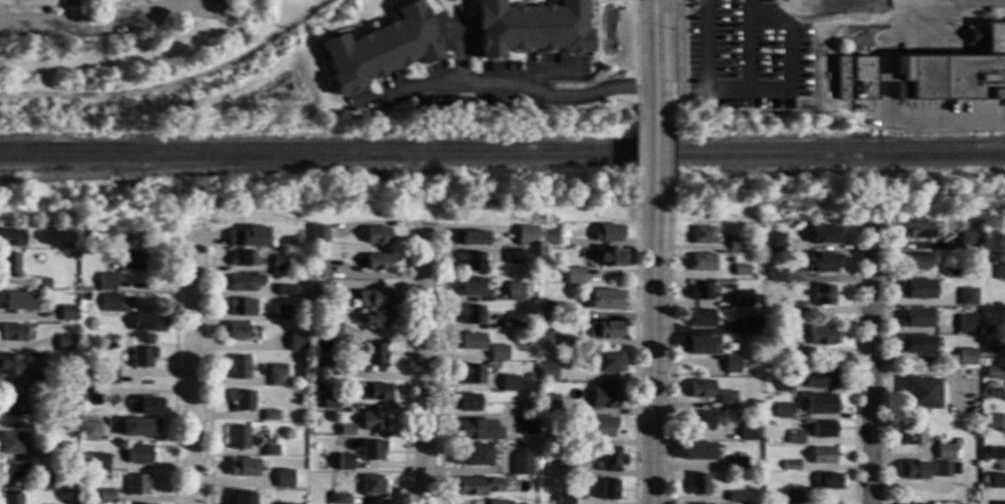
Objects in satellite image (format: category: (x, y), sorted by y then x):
road: (902, 0)
road: (118, 1)
road: (605, 1)
road: (179, 2)
road: (9, 3)
road: (16, 3)
road: (64, 6)
road: (438, 8)
road: (463, 12)
road: (69, 13)
road: (963, 15)
road: (98, 24)
building: (530, 27)
road: (933, 35)
road: (445, 36)
road: (323, 37)
road: (596, 38)
road: (900, 38)
road: (741, 44)
building: (377, 48)
building: (718, 49)
road: (650, 52)
road: (634, 53)
road: (670, 53)
road: (458, 54)
parking lot: (736, 55)
road: (547, 73)
building: (931, 73)
road: (887, 78)
road: (174, 82)
road: (499, 85)
road: (750, 88)
road: (927, 122)
railway: (502, 148)
road: (669, 156)
road: (634, 157)
road: (650, 157)
railway: (502, 158)
railway: (197, 171)
building: (554, 222)
road: (469, 229)
building: (915, 230)
building: (83, 233)
building: (607, 233)
building: (822, 234)
building: (375, 235)
building: (702, 235)
building: (320, 236)
building: (524, 236)
building: (548, 236)
building: (12, 238)
building: (248, 238)
building: (468, 238)
building: (297, 239)
building: (967, 240)
building: (774, 241)
building: (67, 244)
building: (735, 244)
building: (541, 251)
building: (511, 255)
building: (609, 256)
building: (242, 258)
building: (130, 260)
building: (915, 260)
building: (471, 261)
building: (376, 262)
building: (701, 262)
building: (821, 262)
building: (10, 264)
building: (279, 264)
building: (317, 269)
building: (740, 270)
building: (949, 272)
building: (1000, 272)
building: (774, 273)
building: (573, 276)
building: (106, 281)
building: (244, 282)
building: (42, 283)
building: (472, 287)
building: (787, 288)
building: (528, 289)
building: (916, 289)
building: (284, 290)
building: (317, 290)
building: (700, 290)
building: (513, 291)
building: (822, 295)
building: (966, 296)
building: (83, 297)
building: (603, 299)
building: (742, 299)
building: (373, 300)
building: (17, 302)
building: (110, 303)
building: (241, 307)
building: (794, 307)
building: (545, 309)
building: (281, 312)
building: (66, 313)
building: (470, 314)
building: (701, 318)
building: (915, 318)
building: (375, 319)
building: (147, 323)
building: (508, 324)
building: (966, 324)
building: (525, 326)
building: (749, 326)
building: (986, 328)
building: (603, 330)
building: (235, 331)
building: (329, 331)
building: (11, 332)
building: (821, 335)
building: (471, 341)
building: (545, 341)
building: (64, 342)
building: (295, 342)
building: (916, 344)
building: (699, 345)
building: (988, 345)
building: (311, 352)
building: (497, 352)
building: (374, 353)
road: (668, 354)
building: (785, 354)
road: (634, 355)
road: (650, 356)
building: (142, 357)
building: (966, 357)
building: (607, 361)
building: (730, 363)
building: (9, 364)
road: (855, 364)
building: (328, 365)
road: (403, 365)
road: (173, 366)
road: (193, 366)
road: (422, 367)
road: (439, 367)
building: (239, 368)
road: (870, 369)
road: (884, 371)
building: (991, 371)
building: (547, 372)
road: (208, 373)
building: (90, 374)
building: (469, 374)
building: (967, 374)
building: (107, 376)
building: (31, 378)
building: (83, 378)
building: (276, 378)
building: (820, 378)
building: (983, 381)
building: (45, 383)
building: (508, 383)
building: (782, 384)
building: (62, 387)
building: (700, 389)
building: (372, 391)
building: (921, 393)
building: (992, 393)
building: (90, 396)
building: (604, 396)
building: (726, 399)
building: (242, 400)
building: (327, 400)
building: (463, 403)
building: (547, 403)
building: (13, 404)
building: (820, 404)
building: (146, 406)
building: (527, 408)
building: (783, 411)
building: (270, 415)
building: (56, 420)
building: (700, 420)
building: (372, 421)
building: (992, 421)
building: (526, 425)
building: (599, 427)
building: (138, 428)
building: (823, 429)
building: (345, 430)
building: (477, 430)
building: (747, 430)
building: (89, 432)
building: (913, 433)
building: (557, 437)
building: (795, 437)
building: (240, 438)
building: (957, 442)
building: (14, 443)
building: (270, 450)
building: (370, 450)
building: (64, 451)
building: (696, 451)
building: (944, 451)
building: (995, 453)
building: (138, 455)
building: (472, 455)
building: (823, 455)
building: (610, 460)
building: (93, 461)
building: (344, 462)
building: (521, 463)
building: (739, 463)
building: (791, 465)
building: (243, 467)
building: (564, 468)
building: (941, 469)
building: (913, 470)
building: (984, 470)
building: (13, 471)
building: (283, 479)
building: (828, 481)
building: (997, 481)
building: (43, 484)
building: (137, 484)
building: (697, 484)
building: (371, 485)
building: (474, 486)
building: (607, 490)
building: (102, 495)
building: (791, 495)
building: (734, 496)
building: (242, 497)
building: (339, 498)
building: (564, 498)
building: (10, 499)
building: (498, 502)
building: (527, 502)
building: (280, 503)
building: (998, 503)

